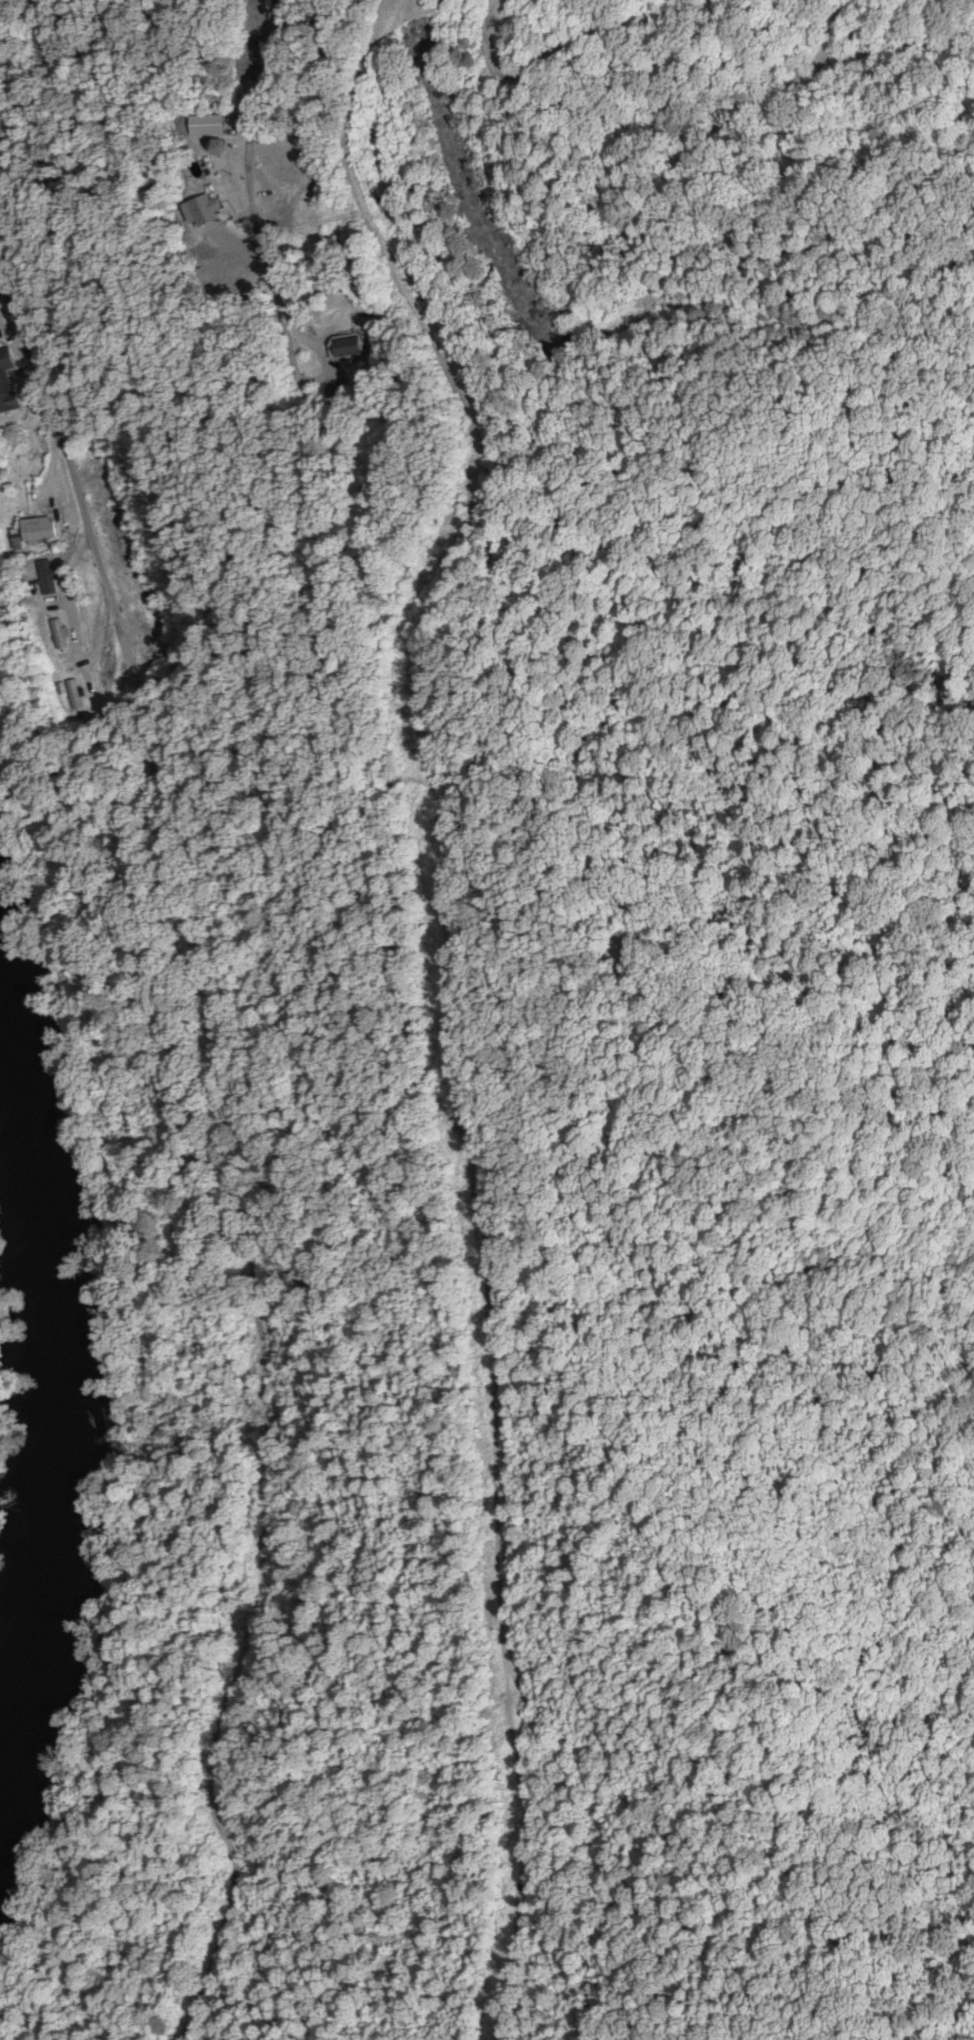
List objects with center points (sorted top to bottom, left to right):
road: (251, 124)
road: (284, 147)
building: (206, 214)
building: (353, 347)
building: (8, 389)
road: (73, 470)
building: (36, 532)
building: (48, 577)
building: (60, 634)
building: (75, 694)
river: (48, 1407)

